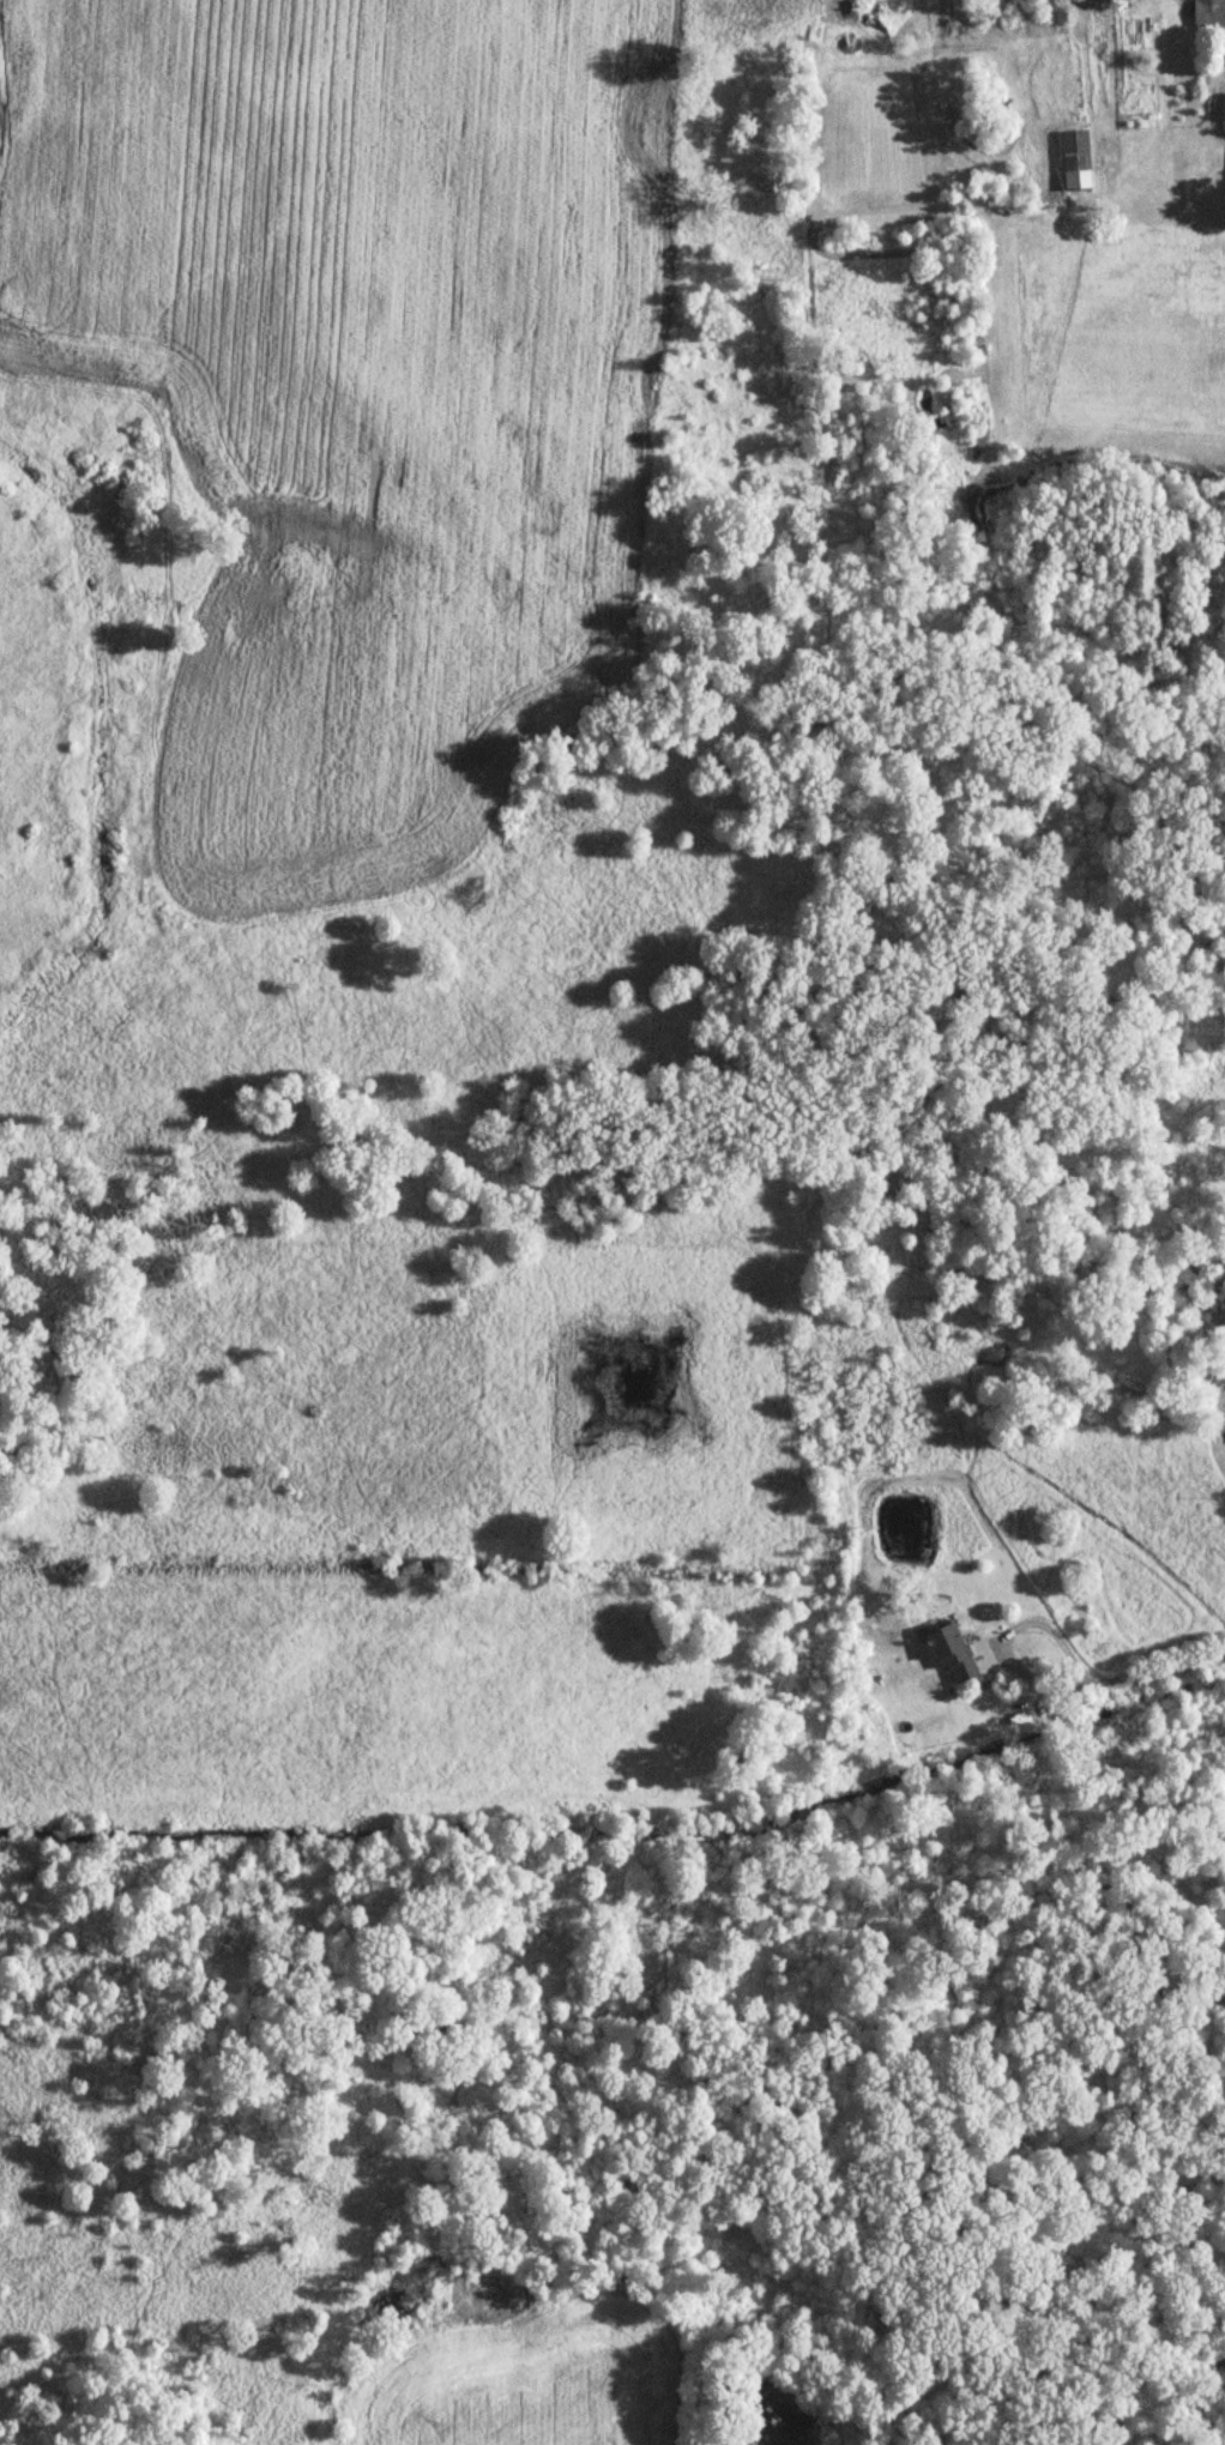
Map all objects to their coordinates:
building: (1208, 13)
building: (1074, 145)
road: (1006, 1632)
building: (951, 1655)
road: (1160, 1665)

